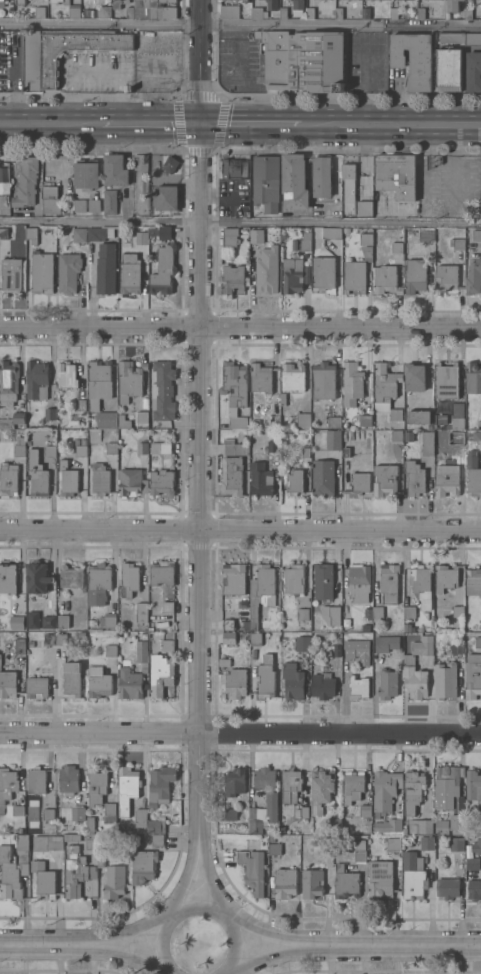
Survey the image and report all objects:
building: (167, 1)
building: (244, 1)
building: (20, 2)
building: (53, 2)
building: (2, 3)
building: (117, 3)
building: (271, 4)
building: (296, 4)
building: (145, 9)
building: (451, 9)
building: (39, 11)
building: (74, 11)
building: (101, 11)
building: (130, 11)
building: (228, 11)
building: (258, 11)
building: (87, 12)
building: (166, 12)
building: (283, 12)
building: (310, 12)
building: (338, 12)
building: (393, 12)
building: (421, 12)
building: (467, 12)
building: (366, 13)
road: (100, 23)
road: (340, 24)
building: (452, 37)
building: (473, 38)
building: (75, 47)
road: (240, 54)
building: (413, 58)
building: (30, 59)
building: (303, 60)
building: (448, 69)
building: (473, 72)
road: (50, 122)
road: (149, 123)
traffic signals: (199, 124)
road: (250, 124)
road: (391, 124)
building: (144, 157)
building: (170, 164)
building: (235, 168)
building: (114, 170)
building: (86, 173)
building: (396, 175)
building: (321, 176)
building: (4, 180)
building: (26, 181)
building: (265, 182)
building: (293, 182)
building: (348, 187)
building: (166, 198)
building: (50, 200)
building: (109, 201)
building: (79, 205)
building: (93, 205)
building: (364, 207)
building: (480, 209)
road: (240, 221)
building: (345, 229)
building: (3, 231)
building: (160, 231)
building: (100, 232)
building: (331, 232)
building: (31, 234)
building: (79, 235)
building: (425, 235)
building: (476, 235)
building: (230, 236)
building: (254, 240)
building: (305, 241)
building: (383, 241)
building: (457, 243)
building: (295, 244)
building: (396, 247)
building: (133, 264)
building: (358, 265)
building: (105, 268)
building: (163, 270)
building: (68, 271)
building: (42, 272)
building: (269, 273)
building: (323, 273)
building: (292, 274)
building: (11, 275)
building: (415, 275)
building: (445, 276)
building: (474, 277)
building: (232, 278)
building: (386, 279)
road: (240, 334)
building: (66, 374)
building: (292, 376)
building: (414, 376)
building: (473, 377)
building: (260, 378)
building: (99, 379)
building: (36, 380)
building: (129, 380)
building: (323, 380)
building: (8, 381)
building: (447, 381)
building: (234, 383)
building: (351, 383)
building: (385, 390)
building: (163, 391)
building: (282, 398)
building: (81, 404)
building: (49, 413)
building: (418, 416)
road: (199, 417)
building: (106, 419)
building: (141, 419)
building: (303, 419)
building: (12, 420)
building: (364, 420)
building: (334, 421)
building: (123, 422)
building: (237, 422)
building: (479, 422)
building: (457, 423)
building: (396, 435)
building: (476, 435)
building: (408, 436)
building: (332, 439)
building: (273, 443)
building: (427, 443)
building: (458, 445)
building: (19, 446)
building: (80, 446)
building: (142, 447)
building: (160, 447)
building: (233, 447)
building: (111, 448)
building: (49, 451)
building: (345, 451)
building: (305, 452)
building: (37, 474)
building: (473, 474)
building: (231, 476)
building: (322, 477)
building: (67, 478)
building: (414, 478)
building: (8, 479)
building: (99, 479)
building: (260, 479)
building: (385, 480)
building: (131, 482)
building: (294, 482)
building: (161, 483)
building: (358, 483)
building: (447, 484)
road: (240, 533)
building: (161, 572)
building: (71, 576)
building: (445, 577)
building: (8, 578)
building: (233, 578)
building: (129, 579)
building: (293, 579)
building: (36, 580)
building: (323, 581)
building: (473, 581)
building: (388, 582)
building: (98, 583)
building: (359, 583)
building: (421, 585)
building: (261, 590)
building: (167, 606)
building: (457, 611)
building: (141, 612)
building: (302, 613)
building: (368, 613)
building: (377, 613)
building: (408, 613)
building: (330, 615)
building: (32, 619)
building: (107, 620)
building: (48, 621)
building: (62, 621)
building: (16, 622)
building: (90, 622)
building: (227, 624)
building: (365, 626)
building: (406, 627)
building: (81, 634)
building: (228, 638)
building: (255, 638)
building: (49, 639)
building: (61, 639)
building: (478, 641)
building: (30, 642)
building: (302, 643)
building: (385, 643)
building: (167, 645)
building: (19, 646)
building: (456, 646)
building: (110, 650)
building: (336, 650)
building: (141, 652)
building: (223, 662)
building: (408, 668)
building: (160, 674)
building: (265, 676)
building: (472, 676)
building: (72, 679)
building: (292, 681)
building: (444, 681)
building: (98, 682)
building: (235, 683)
building: (7, 684)
building: (129, 684)
building: (387, 684)
building: (322, 685)
building: (36, 687)
building: (357, 687)
road: (54, 698)
road: (240, 734)
building: (264, 778)
building: (68, 779)
building: (36, 780)
building: (7, 782)
building: (234, 782)
building: (160, 784)
building: (447, 784)
building: (96, 785)
building: (290, 785)
building: (352, 785)
building: (473, 785)
building: (413, 786)
building: (127, 789)
building: (321, 789)
building: (384, 790)
building: (17, 810)
building: (364, 810)
building: (304, 812)
building: (77, 813)
building: (109, 813)
building: (263, 813)
building: (48, 814)
building: (230, 814)
building: (140, 817)
building: (456, 823)
building: (90, 825)
building: (156, 825)
building: (333, 825)
building: (388, 825)
building: (420, 826)
building: (441, 826)
building: (19, 830)
building: (78, 831)
building: (157, 839)
building: (405, 841)
building: (46, 842)
building: (426, 842)
building: (393, 843)
building: (456, 844)
building: (476, 845)
building: (273, 846)
building: (359, 850)
building: (78, 861)
building: (101, 861)
building: (13, 863)
building: (472, 863)
building: (143, 865)
building: (252, 870)
building: (412, 875)
road: (191, 877)
road: (202, 878)
building: (380, 879)
building: (43, 880)
building: (114, 881)
building: (344, 881)
building: (311, 882)
building: (285, 883)
building: (447, 887)
building: (473, 889)
road: (198, 907)
road: (262, 935)
road: (127, 939)
road: (39, 942)
road: (391, 947)
road: (125, 949)
road: (258, 950)
road: (172, 971)
road: (219, 972)

